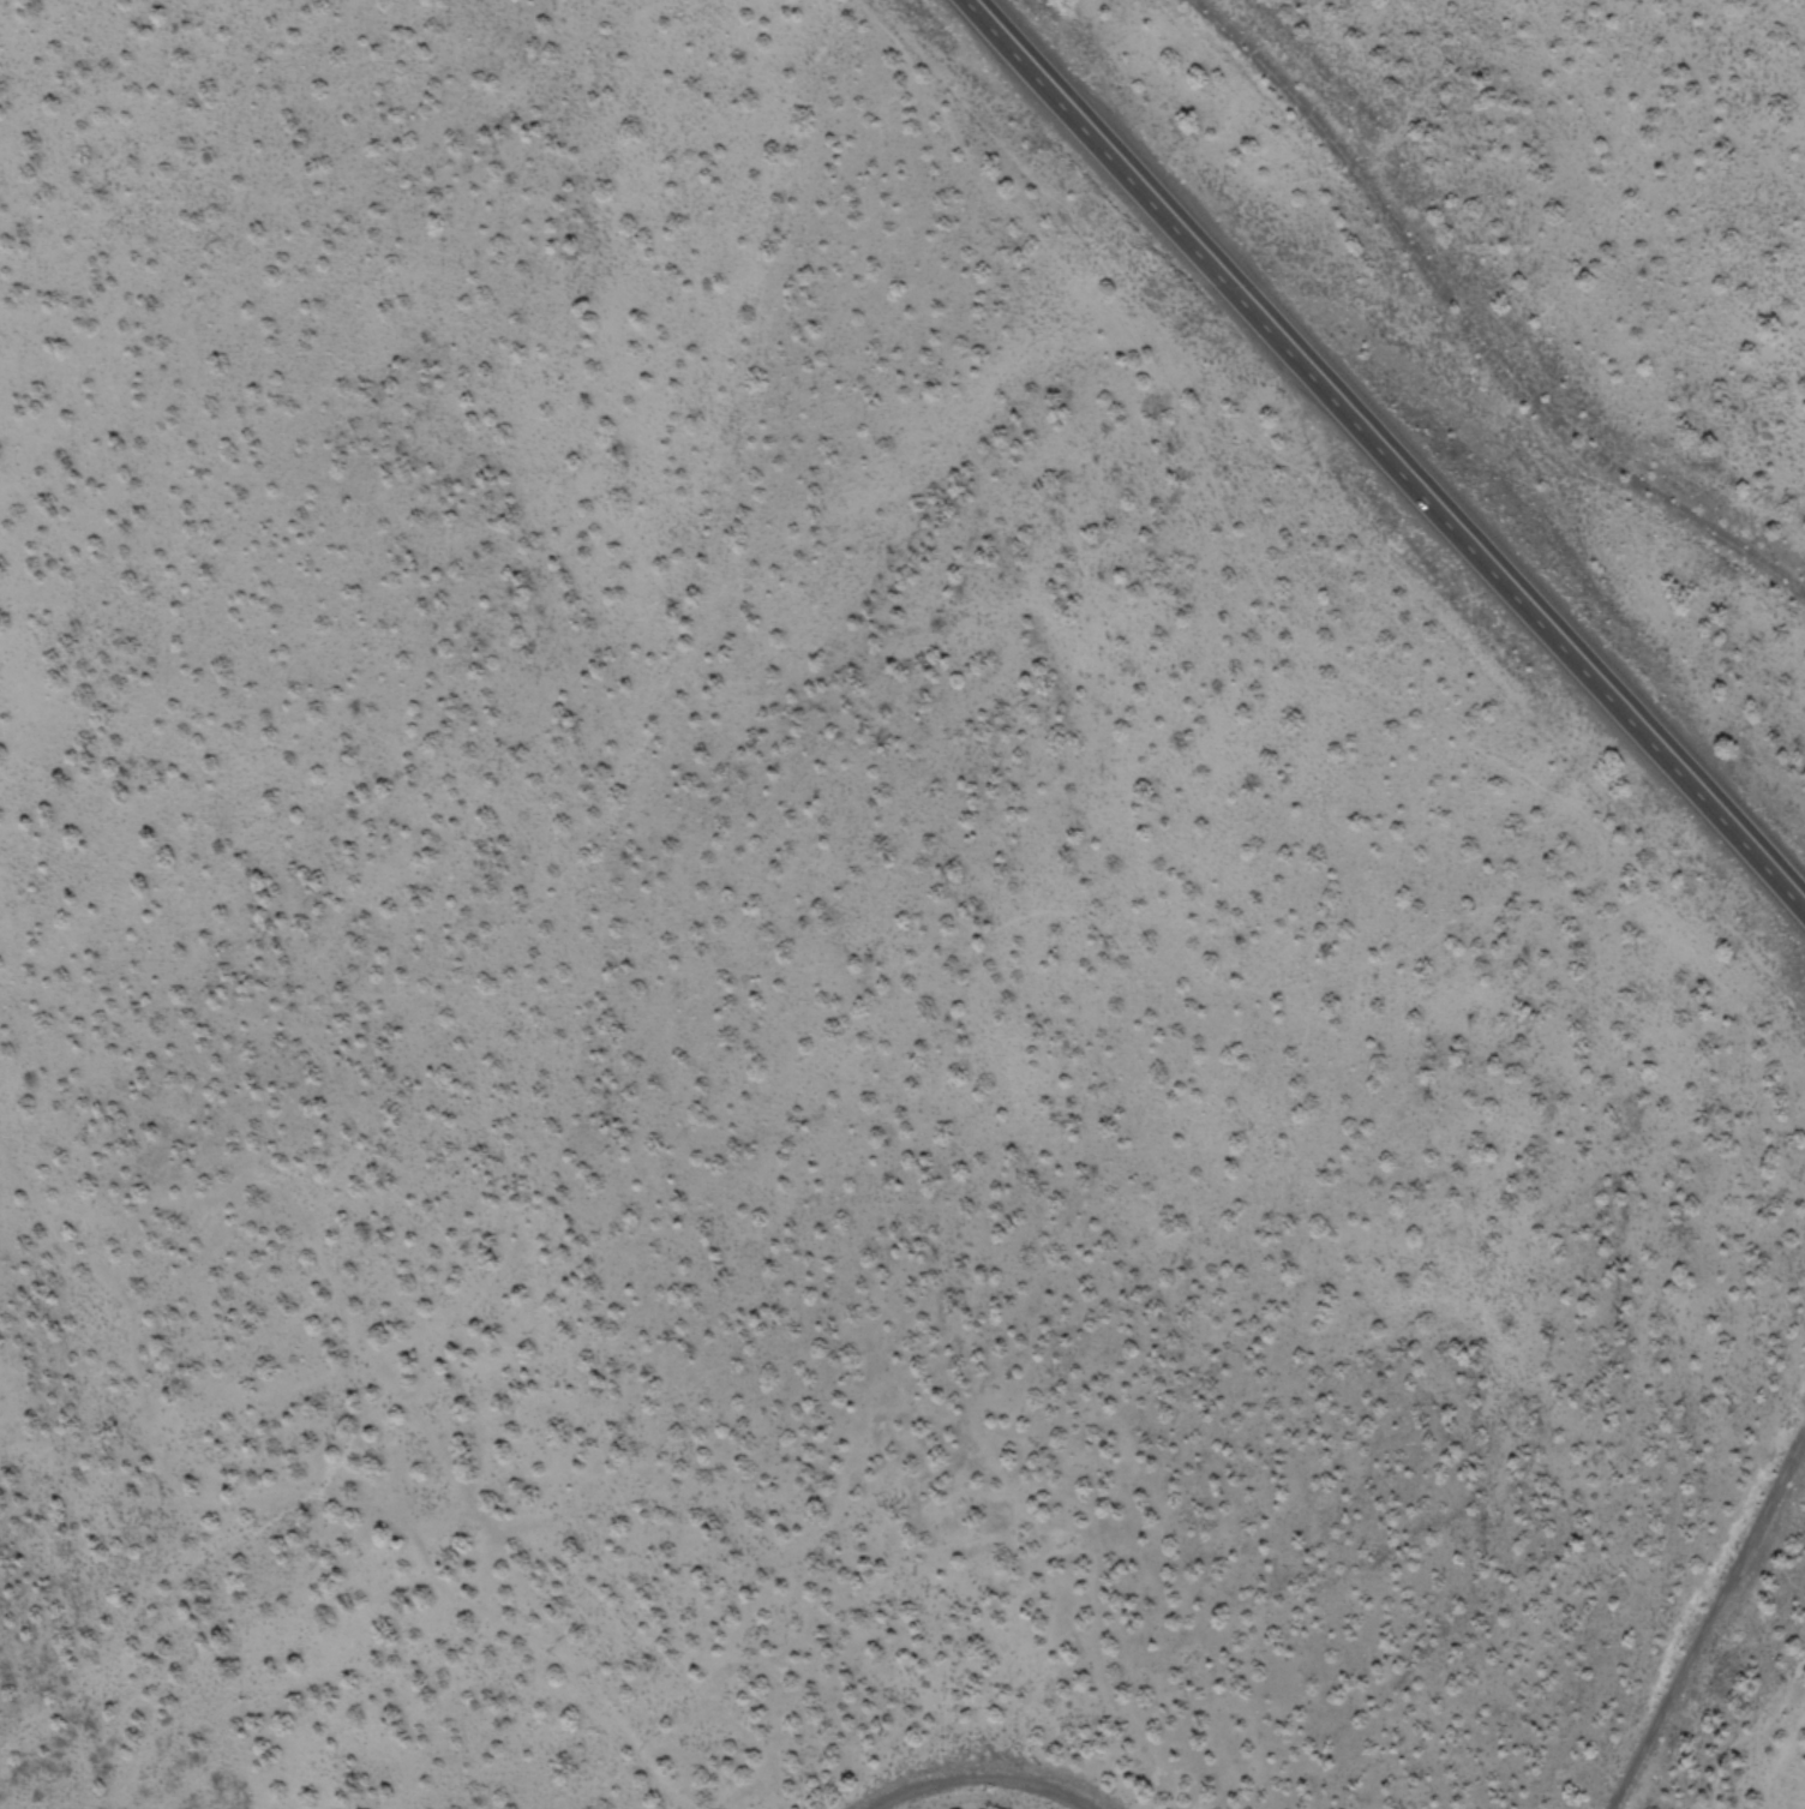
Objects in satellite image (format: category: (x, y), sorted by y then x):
road: (1391, 449)
road: (1696, 959)
road: (1371, 964)
road: (332, 1468)
road: (1710, 1624)
road: (983, 1784)

